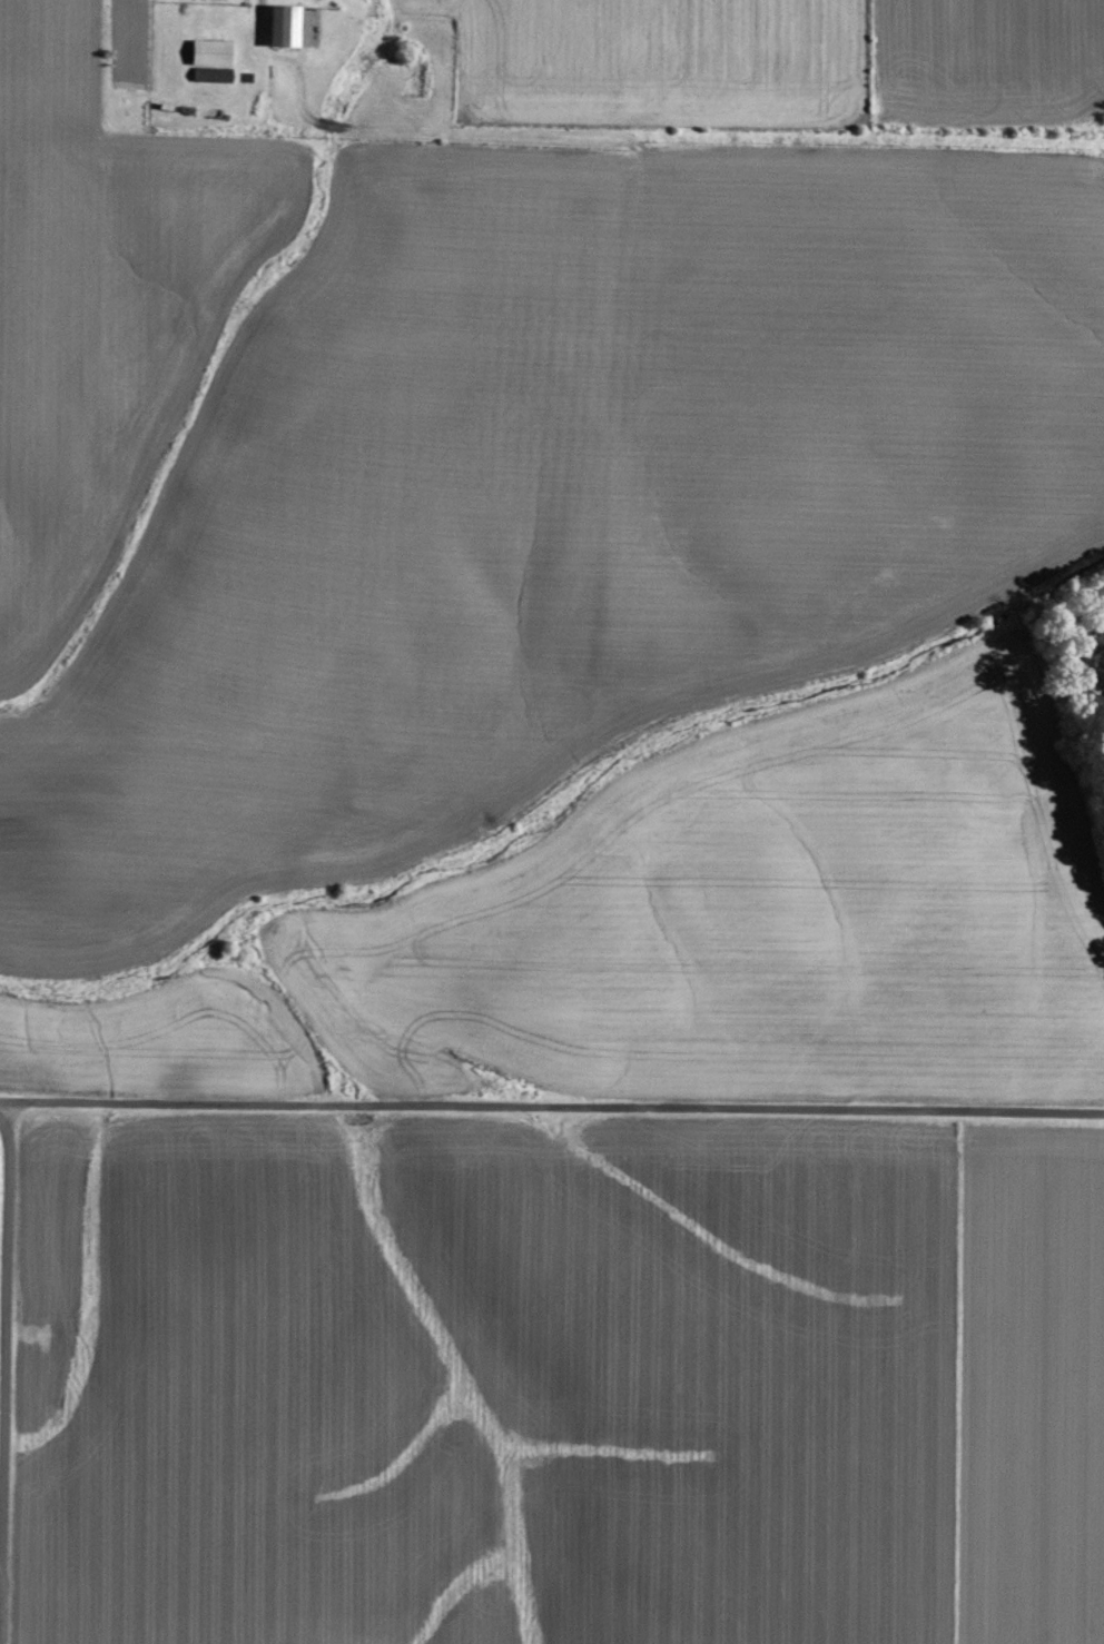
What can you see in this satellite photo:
building: (279, 26)
building: (207, 52)
road: (551, 1105)
road: (6, 1242)

